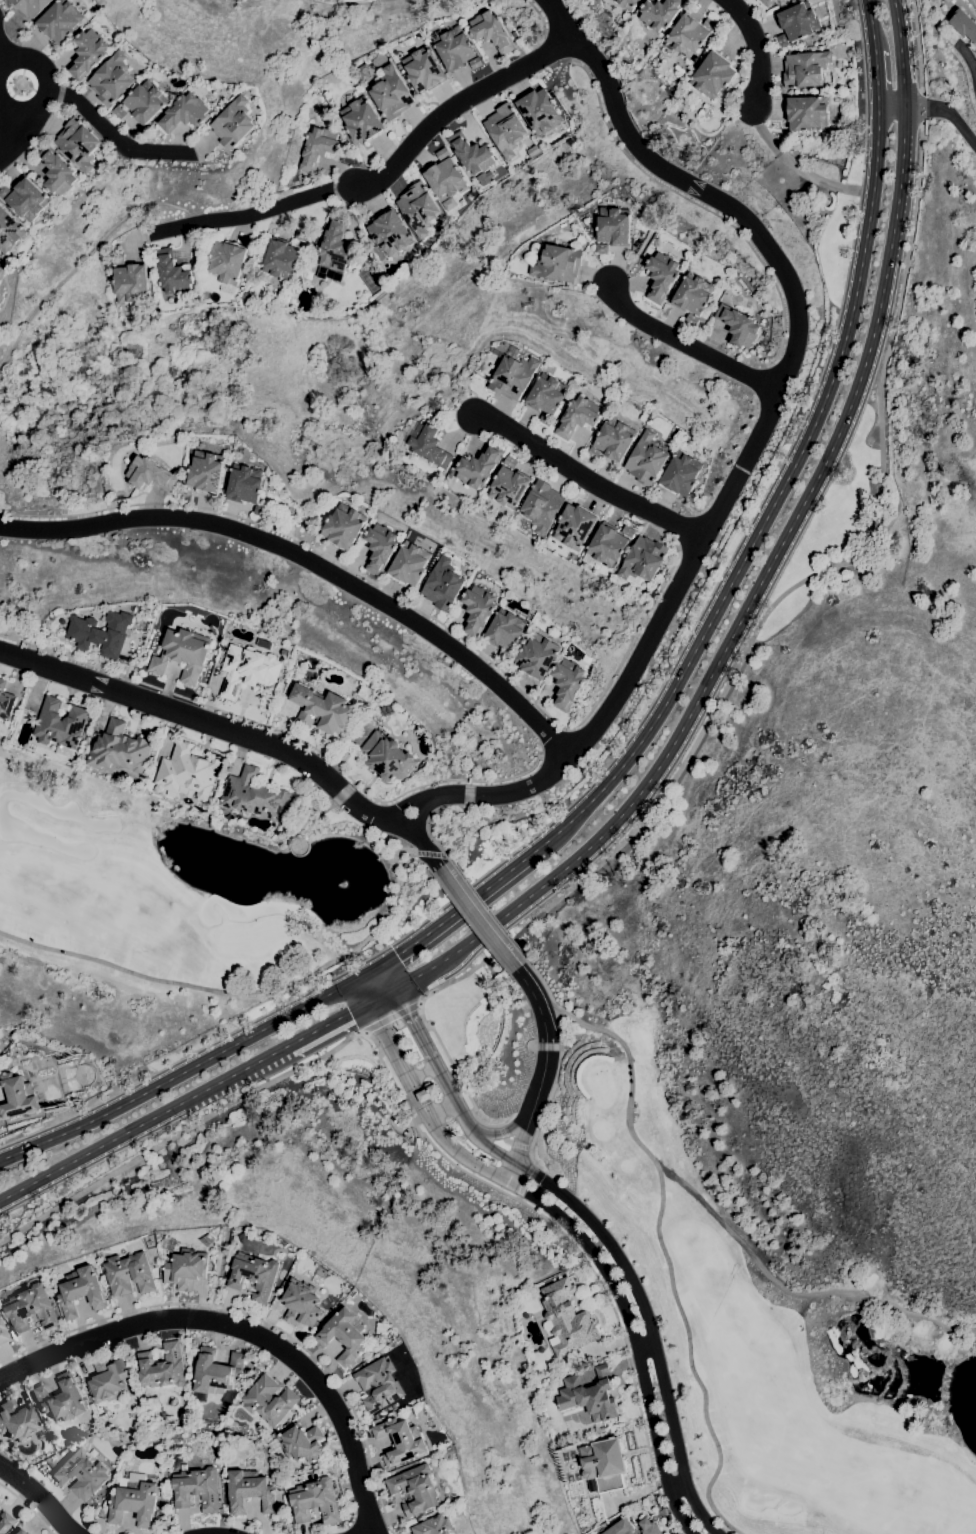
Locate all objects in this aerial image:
building: (767, 2)
building: (627, 3)
park: (972, 3)
building: (952, 5)
building: (29, 6)
building: (660, 13)
road: (538, 14)
building: (60, 21)
building: (798, 21)
building: (710, 24)
building: (964, 25)
road: (872, 30)
building: (492, 32)
building: (687, 35)
building: (782, 41)
road: (560, 46)
road: (918, 46)
building: (453, 47)
road: (754, 49)
building: (975, 51)
building: (88, 53)
road: (3, 55)
road: (970, 59)
building: (475, 63)
building: (423, 69)
building: (805, 69)
building: (713, 75)
building: (111, 79)
road: (47, 84)
road: (876, 84)
building: (391, 94)
building: (145, 101)
road: (891, 107)
road: (921, 108)
building: (539, 111)
road: (947, 111)
building: (119, 112)
building: (183, 113)
building: (807, 113)
building: (362, 120)
building: (233, 123)
building: (505, 129)
road: (10, 130)
road: (111, 135)
road: (36, 139)
building: (78, 144)
building: (317, 148)
building: (532, 151)
building: (442, 153)
building: (471, 153)
road: (797, 168)
building: (57, 171)
road: (380, 179)
building: (445, 179)
building: (4, 191)
building: (27, 199)
road: (696, 206)
building: (420, 211)
building: (613, 226)
building: (9, 231)
building: (389, 232)
building: (301, 235)
building: (335, 248)
building: (601, 248)
building: (281, 259)
building: (118, 260)
building: (557, 263)
building: (107, 265)
building: (226, 265)
building: (2, 271)
building: (172, 273)
building: (661, 276)
building: (130, 283)
building: (735, 290)
building: (693, 295)
building: (247, 298)
building: (692, 319)
building: (738, 326)
road: (687, 346)
building: (513, 377)
road: (760, 382)
building: (547, 394)
building: (578, 417)
building: (546, 420)
road: (761, 421)
building: (615, 439)
building: (429, 445)
building: (593, 452)
road: (729, 458)
building: (646, 460)
building: (510, 462)
building: (478, 467)
building: (208, 472)
building: (151, 474)
building: (681, 474)
road: (588, 475)
building: (247, 484)
building: (508, 487)
building: (542, 506)
road: (771, 506)
building: (261, 511)
building: (344, 526)
building: (574, 526)
road: (686, 526)
building: (628, 531)
building: (607, 545)
building: (380, 547)
building: (643, 559)
road: (772, 559)
road: (313, 561)
building: (409, 564)
building: (443, 585)
road: (791, 587)
road: (404, 601)
building: (477, 610)
building: (505, 630)
building: (100, 633)
building: (264, 644)
building: (183, 655)
building: (505, 655)
building: (537, 656)
building: (248, 669)
building: (567, 683)
building: (282, 688)
building: (366, 693)
building: (5, 700)
building: (322, 710)
building: (60, 726)
road: (281, 732)
road: (235, 733)
road: (555, 740)
building: (119, 749)
building: (388, 758)
building: (187, 771)
building: (253, 795)
road: (404, 806)
road: (419, 814)
road: (430, 835)
road: (431, 852)
road: (395, 875)
park: (190, 891)
road: (461, 907)
road: (488, 908)
road: (477, 916)
road: (351, 950)
traffic signals: (396, 956)
road: (367, 972)
road: (388, 976)
road: (456, 978)
road: (440, 986)
road: (258, 990)
road: (360, 992)
road: (381, 996)
road: (423, 996)
road: (400, 999)
road: (413, 1006)
traffic signals: (349, 1013)
road: (372, 1014)
road: (383, 1020)
fountain: (432, 1022)
road: (326, 1025)
road: (545, 1029)
road: (420, 1037)
road: (547, 1046)
fountain: (377, 1053)
road: (558, 1062)
road: (400, 1064)
road: (421, 1072)
road: (179, 1074)
road: (452, 1076)
building: (428, 1092)
building: (17, 1096)
building: (404, 1106)
road: (440, 1107)
road: (142, 1121)
road: (511, 1126)
road: (178, 1131)
road: (522, 1139)
road: (509, 1142)
road: (523, 1180)
building: (208, 1240)
road: (571, 1242)
building: (169, 1244)
road: (667, 1253)
road: (627, 1267)
building: (186, 1269)
building: (129, 1274)
building: (254, 1276)
road: (612, 1282)
building: (81, 1291)
road: (798, 1292)
building: (301, 1304)
building: (30, 1309)
road: (255, 1317)
building: (567, 1318)
park: (775, 1320)
building: (383, 1328)
building: (2, 1333)
building: (343, 1335)
road: (73, 1345)
road: (646, 1345)
building: (162, 1367)
building: (216, 1373)
road: (310, 1373)
building: (107, 1380)
building: (379, 1385)
building: (589, 1395)
building: (61, 1399)
building: (269, 1400)
building: (151, 1402)
building: (17, 1420)
building: (400, 1441)
building: (302, 1443)
building: (48, 1448)
building: (604, 1464)
building: (80, 1474)
building: (285, 1482)
road: (675, 1483)
building: (197, 1488)
building: (415, 1489)
building: (249, 1491)
road: (40, 1495)
building: (315, 1501)
building: (134, 1503)
road: (29, 1506)
building: (4, 1521)
building: (433, 1526)
building: (632, 1527)
building: (19, 1532)
road: (369, 1532)

